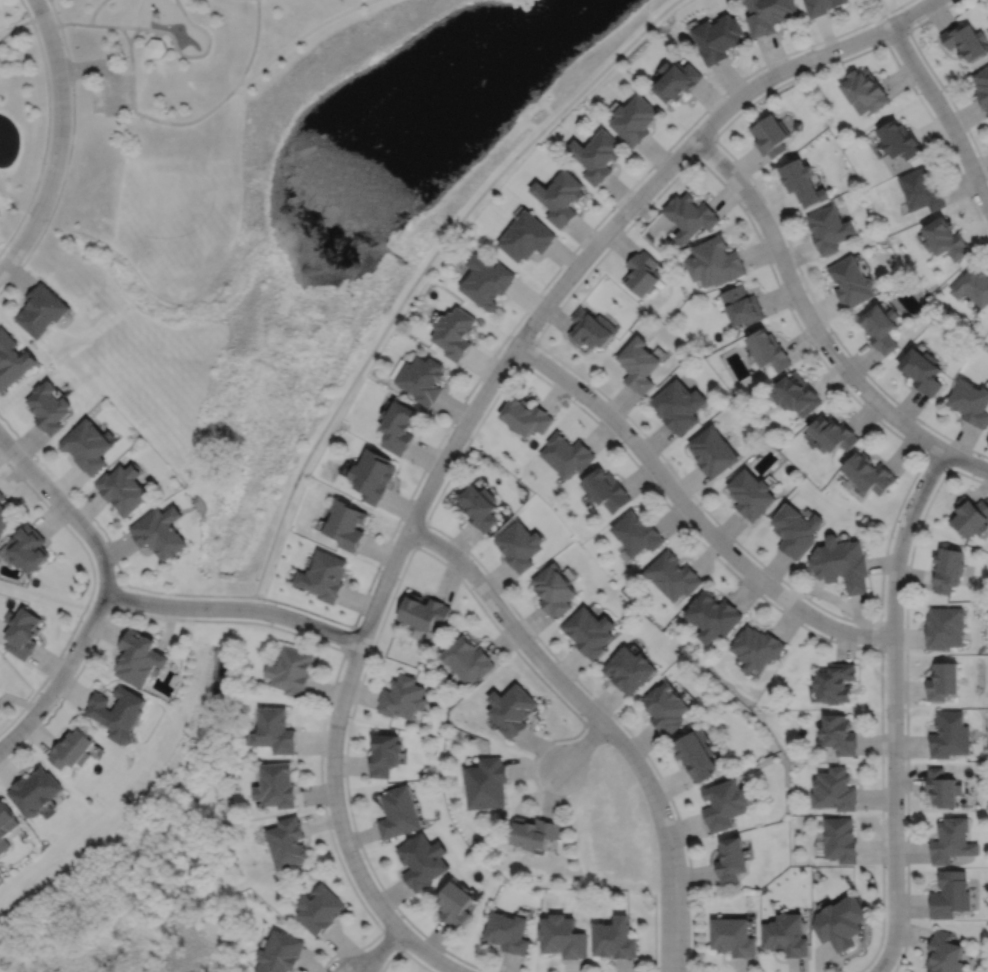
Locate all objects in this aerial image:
building: (821, 6)
road: (893, 9)
road: (26, 10)
park: (876, 10)
road: (94, 11)
building: (767, 15)
road: (65, 23)
street lamp: (912, 25)
road: (128, 27)
road: (157, 35)
road: (302, 35)
road: (897, 36)
building: (718, 39)
building: (965, 42)
street lamp: (814, 47)
building: (155, 48)
road: (104, 67)
road: (120, 70)
road: (936, 77)
building: (677, 82)
building: (982, 88)
street lamp: (917, 90)
building: (864, 93)
parking lot: (111, 95)
road: (134, 96)
road: (943, 113)
building: (634, 120)
street lamp: (716, 131)
building: (770, 137)
road: (46, 139)
road: (60, 140)
building: (898, 142)
road: (719, 144)
road: (704, 147)
road: (70, 152)
building: (597, 155)
street lamp: (987, 182)
building: (803, 183)
building: (920, 190)
park: (371, 195)
building: (560, 195)
street lamp: (744, 205)
park: (134, 209)
street lamp: (614, 209)
building: (691, 214)
building: (830, 227)
building: (526, 235)
building: (945, 236)
building: (717, 260)
road: (562, 263)
road: (424, 269)
building: (643, 272)
building: (486, 280)
building: (852, 280)
building: (973, 284)
building: (742, 304)
street lamp: (793, 308)
building: (43, 309)
building: (880, 326)
building: (592, 327)
road: (815, 328)
building: (454, 331)
street lamp: (536, 336)
building: (769, 349)
road: (527, 351)
building: (13, 359)
building: (639, 363)
building: (922, 369)
building: (421, 378)
road: (546, 381)
street lamp: (583, 381)
road: (489, 383)
building: (798, 393)
building: (970, 401)
building: (679, 405)
building: (51, 407)
building: (526, 416)
building: (398, 426)
building: (834, 433)
street lamp: (447, 434)
building: (88, 445)
street lamp: (921, 447)
building: (714, 451)
building: (567, 454)
road: (925, 454)
road: (939, 461)
building: (372, 474)
building: (868, 474)
street lamp: (655, 483)
building: (123, 487)
building: (607, 489)
road: (69, 493)
building: (752, 493)
building: (480, 506)
road: (66, 508)
road: (691, 512)
building: (4, 513)
building: (970, 516)
building: (345, 524)
building: (796, 529)
building: (159, 531)
building: (637, 533)
road: (419, 534)
street lamp: (893, 536)
street lamp: (420, 545)
building: (520, 545)
street lamp: (739, 548)
building: (30, 549)
street lamp: (468, 555)
building: (840, 563)
building: (948, 569)
building: (323, 576)
building: (674, 576)
road: (90, 589)
building: (555, 590)
road: (238, 595)
road: (140, 600)
street lamp: (265, 600)
road: (389, 601)
building: (423, 612)
building: (714, 615)
street lamp: (806, 623)
building: (944, 627)
building: (590, 631)
building: (23, 632)
road: (881, 633)
road: (316, 640)
street lamp: (537, 641)
building: (758, 648)
street lamp: (368, 651)
street lamp: (883, 656)
building: (139, 659)
building: (467, 660)
building: (630, 670)
building: (291, 671)
building: (943, 681)
building: (835, 684)
road: (906, 697)
building: (402, 698)
building: (1, 707)
road: (893, 707)
building: (667, 709)
building: (512, 710)
building: (119, 711)
road: (600, 718)
building: (275, 728)
building: (838, 735)
building: (949, 735)
road: (583, 744)
street lamp: (610, 746)
building: (73, 749)
building: (383, 756)
building: (697, 756)
street lamp: (537, 758)
street lamp: (324, 761)
street lamp: (904, 762)
building: (486, 782)
building: (277, 783)
building: (942, 789)
building: (35, 790)
building: (834, 791)
building: (725, 804)
building: (398, 812)
building: (6, 821)
building: (534, 830)
building: (840, 837)
building: (288, 840)
building: (951, 840)
street lamp: (683, 845)
street lamp: (361, 855)
building: (733, 857)
building: (420, 860)
street lamp: (884, 865)
building: (949, 892)
building: (455, 901)
building: (321, 907)
building: (840, 920)
building: (507, 930)
road: (654, 932)
building: (785, 933)
building: (562, 935)
building: (734, 935)
building: (614, 937)
road: (391, 938)
street lamp: (405, 949)
road: (403, 950)
road: (379, 951)
building: (281, 952)
building: (943, 953)
road: (428, 954)
street lamp: (331, 960)

